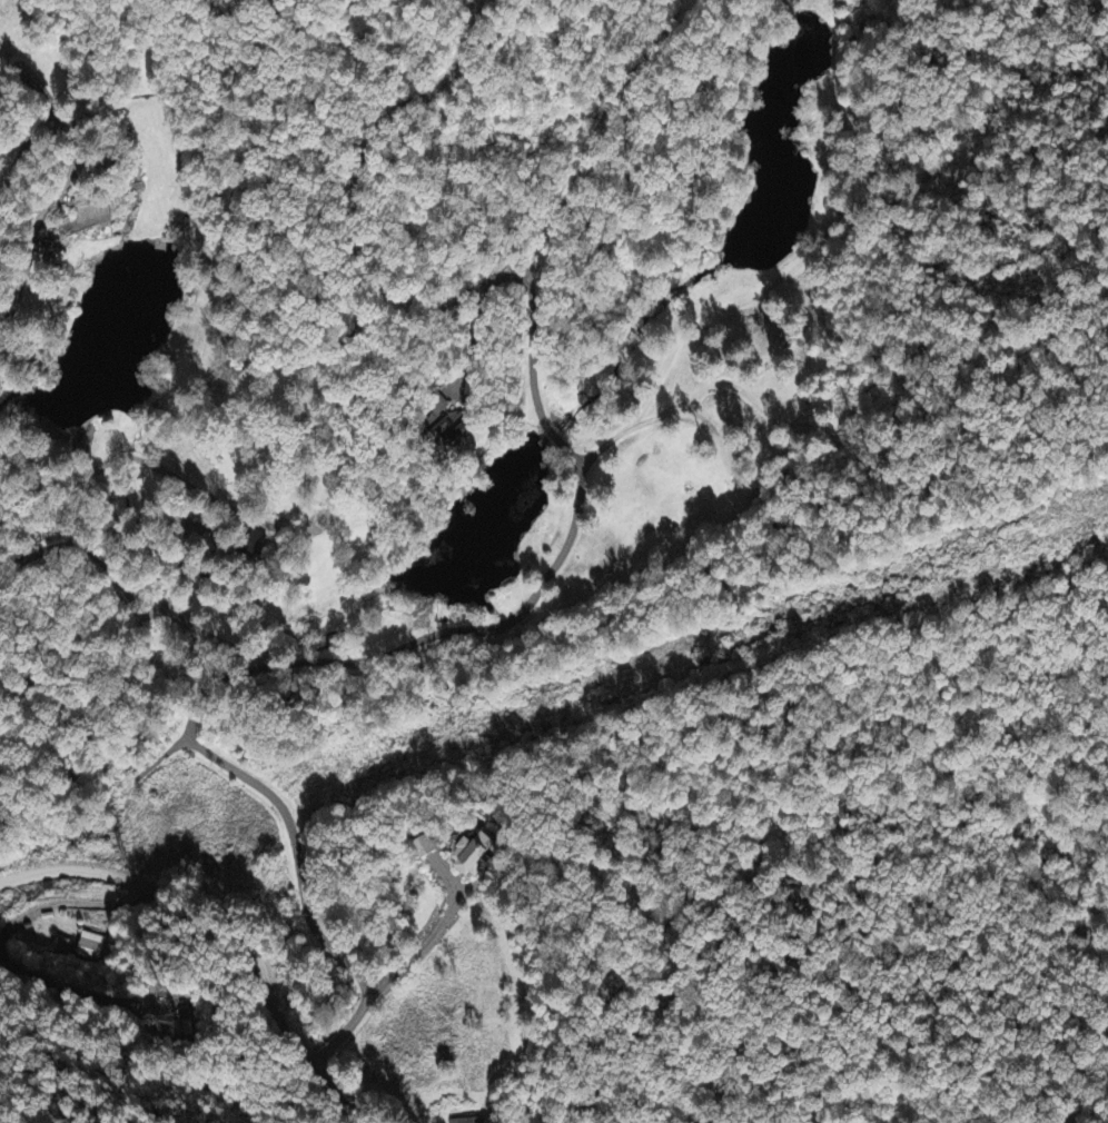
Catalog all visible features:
road: (590, 145)
road: (350, 181)
building: (87, 213)
road: (662, 372)
building: (255, 544)
power tower: (934, 578)
road: (330, 660)
power tower: (561, 696)
power tower: (120, 847)
building: (425, 848)
building: (472, 855)
road: (235, 930)
road: (429, 940)
building: (63, 948)
building: (90, 948)
building: (468, 1122)

